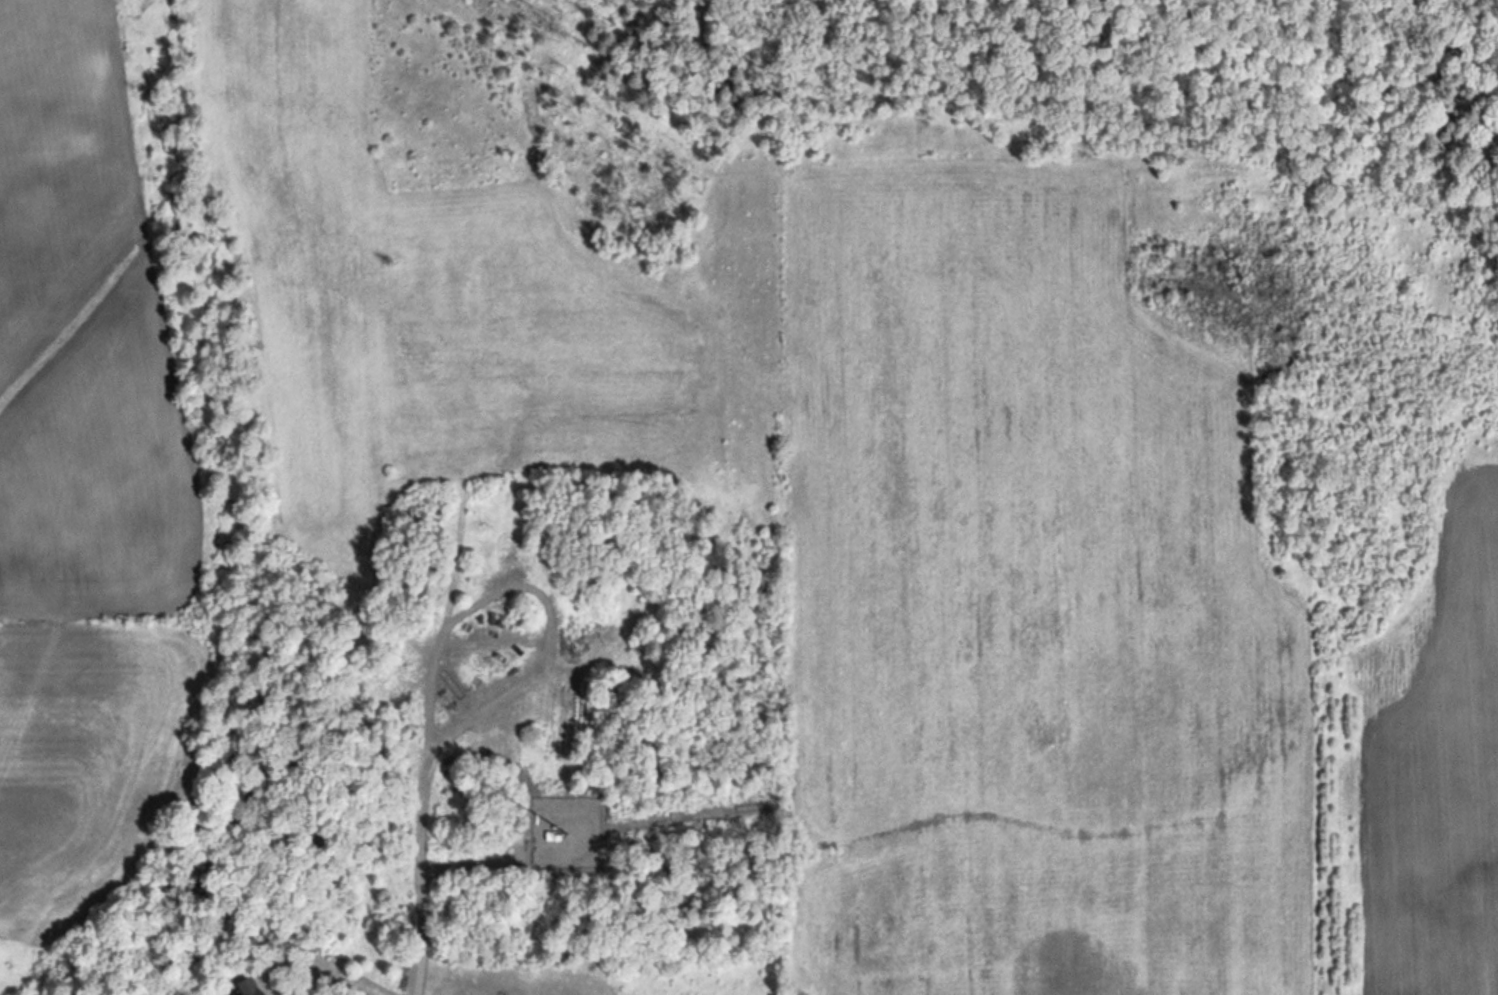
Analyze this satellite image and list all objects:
building: (256, 992)

